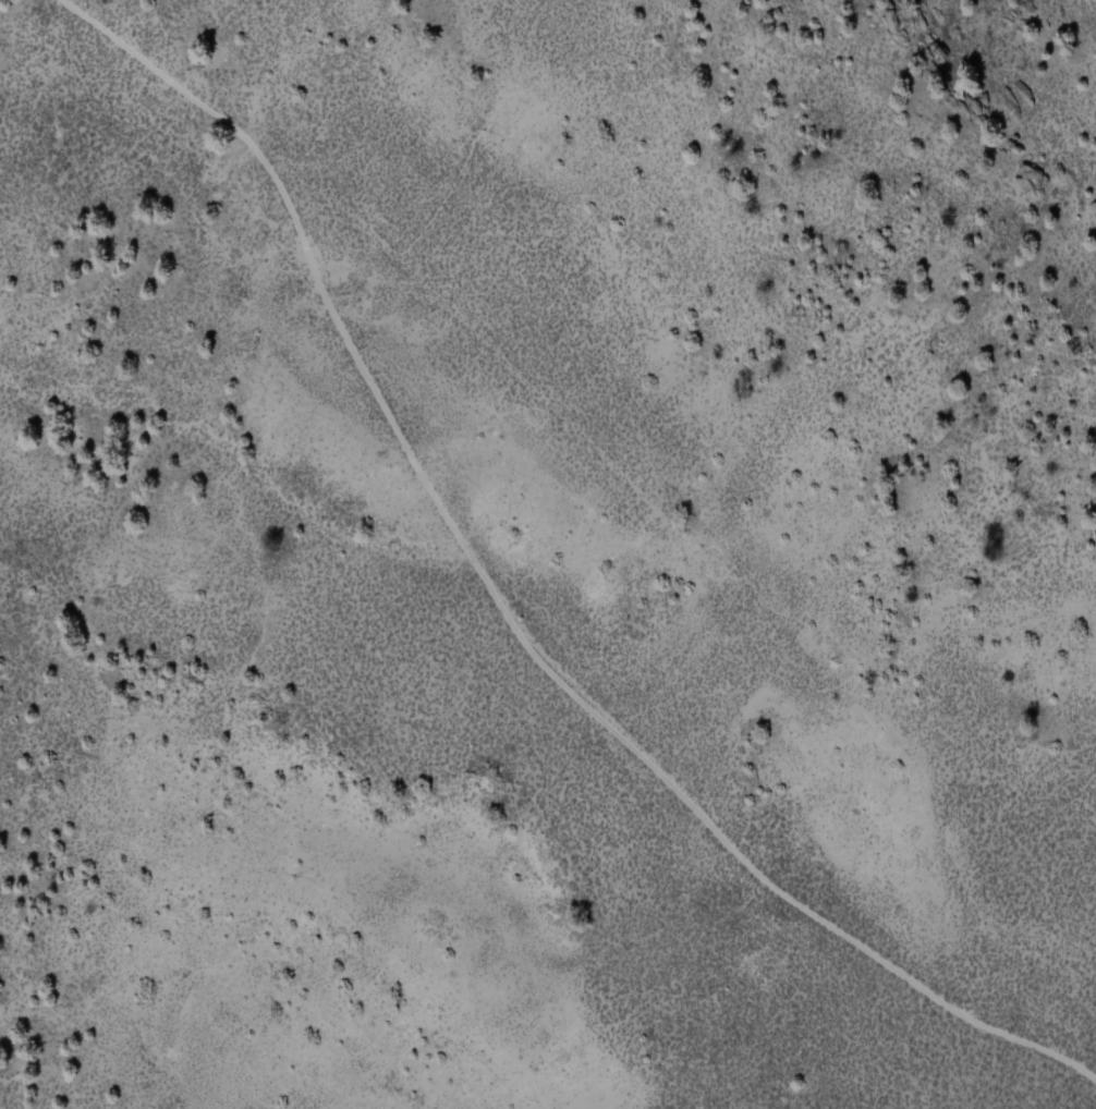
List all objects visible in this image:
road: (500, 612)

